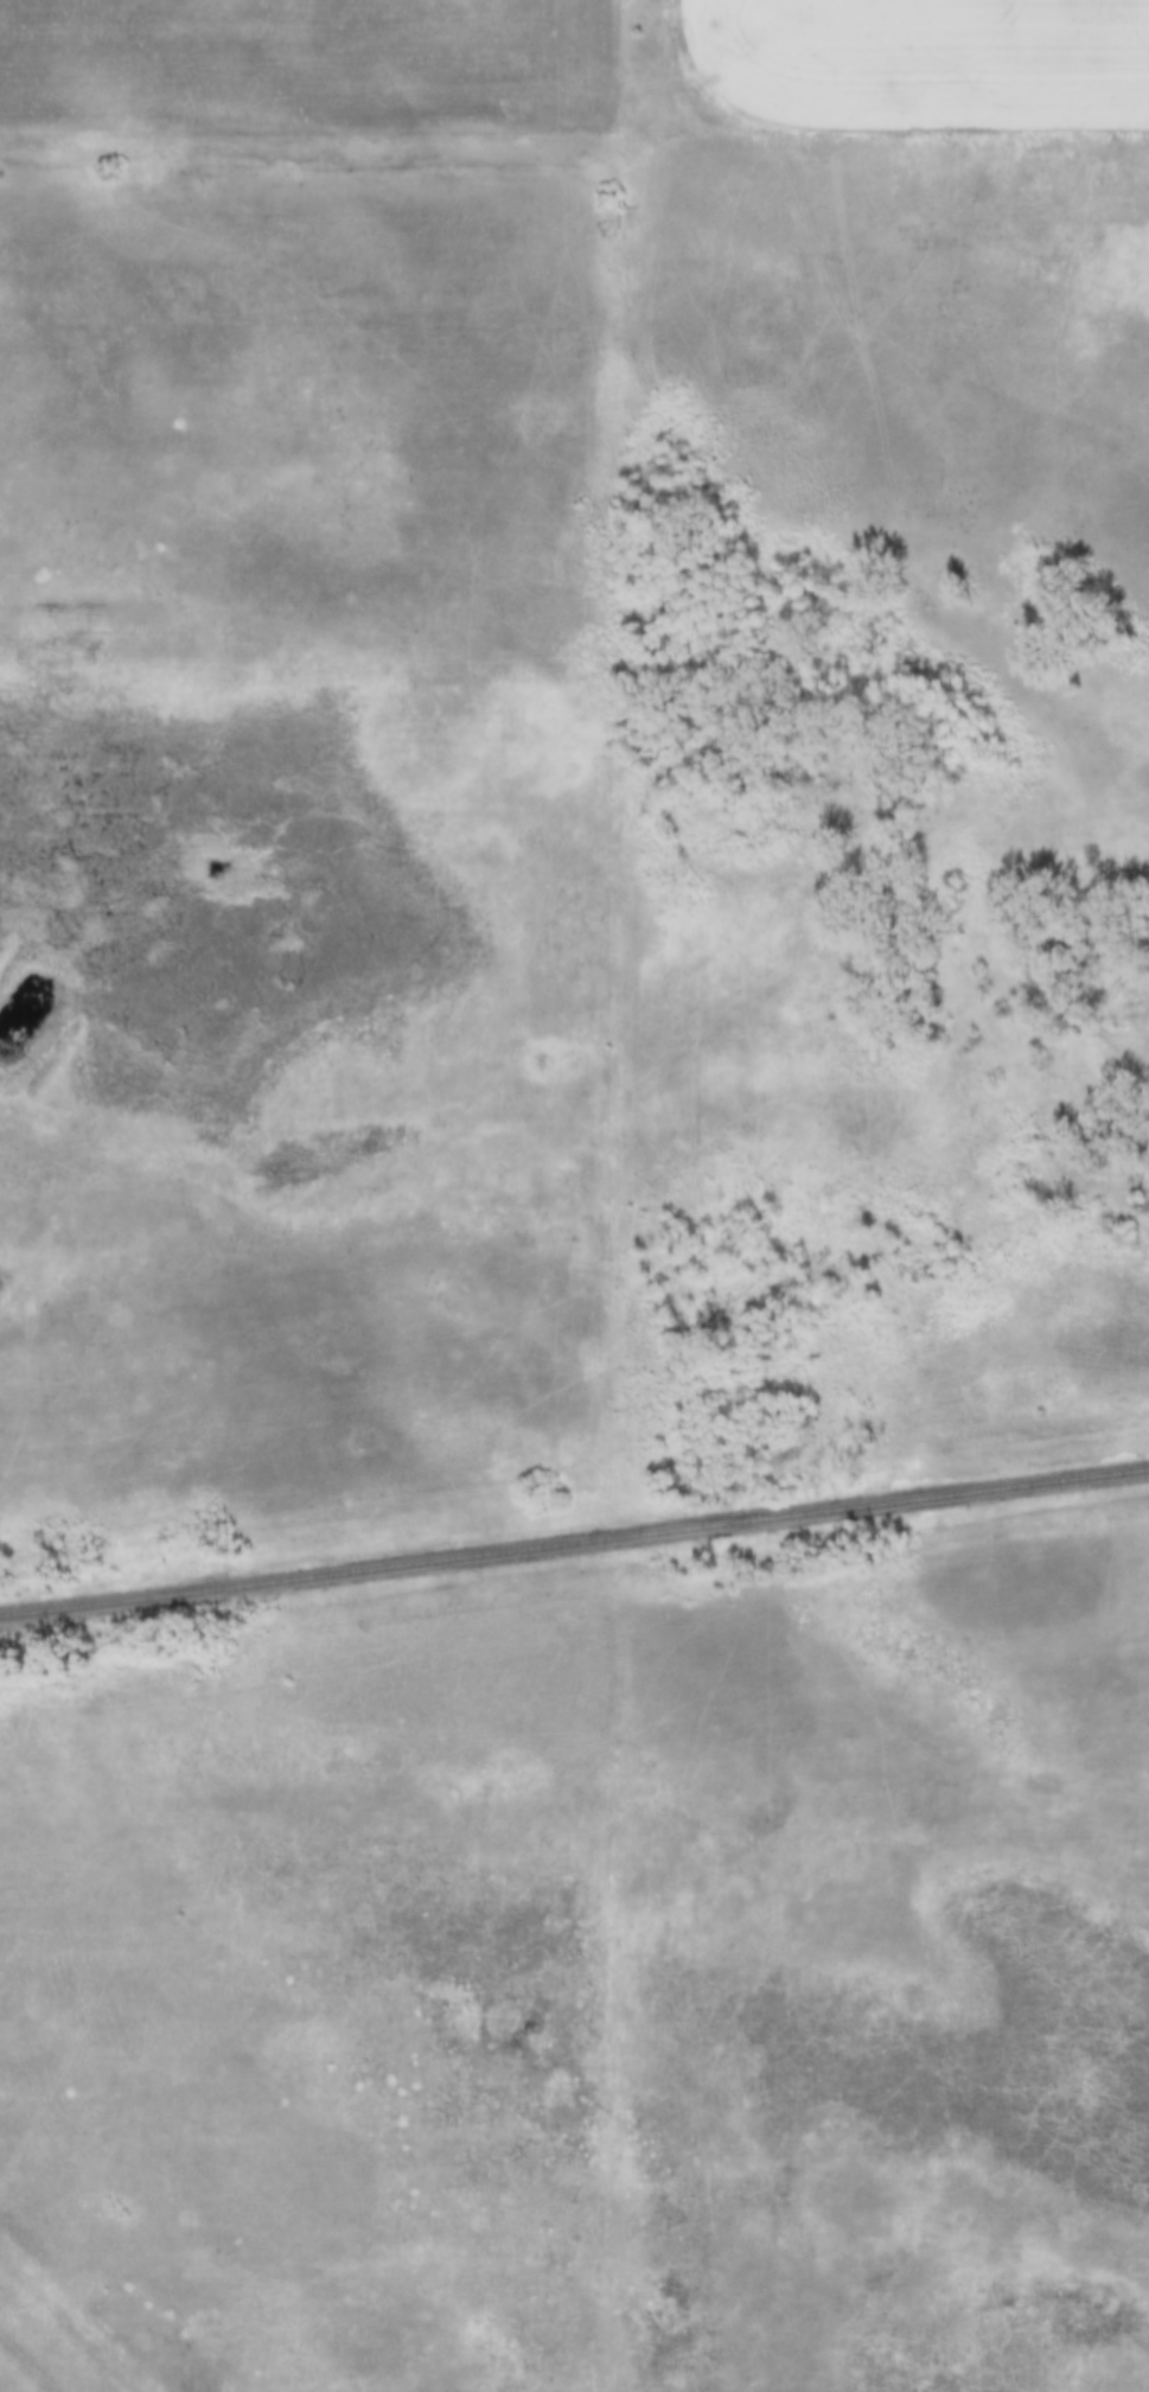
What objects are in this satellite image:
railway: (574, 1539)

